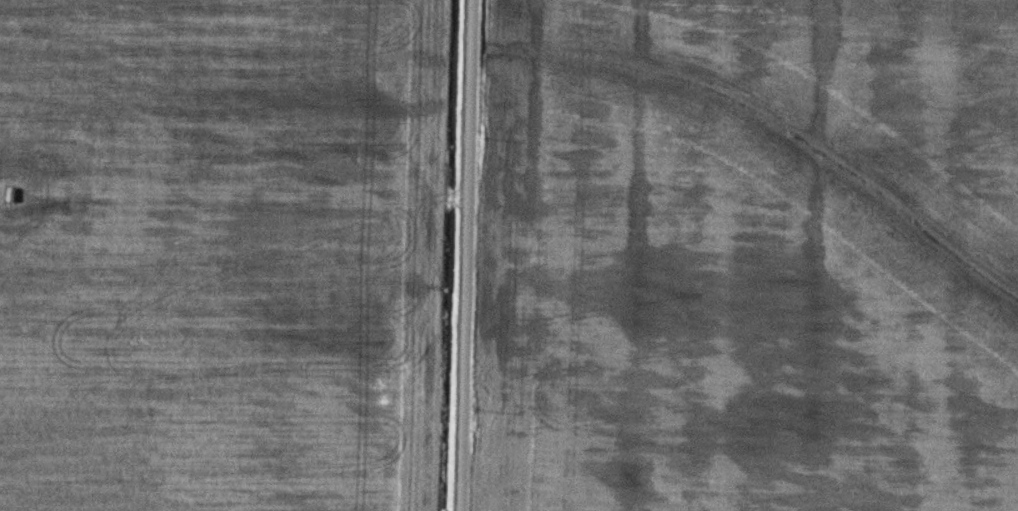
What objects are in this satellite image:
road: (464, 255)

